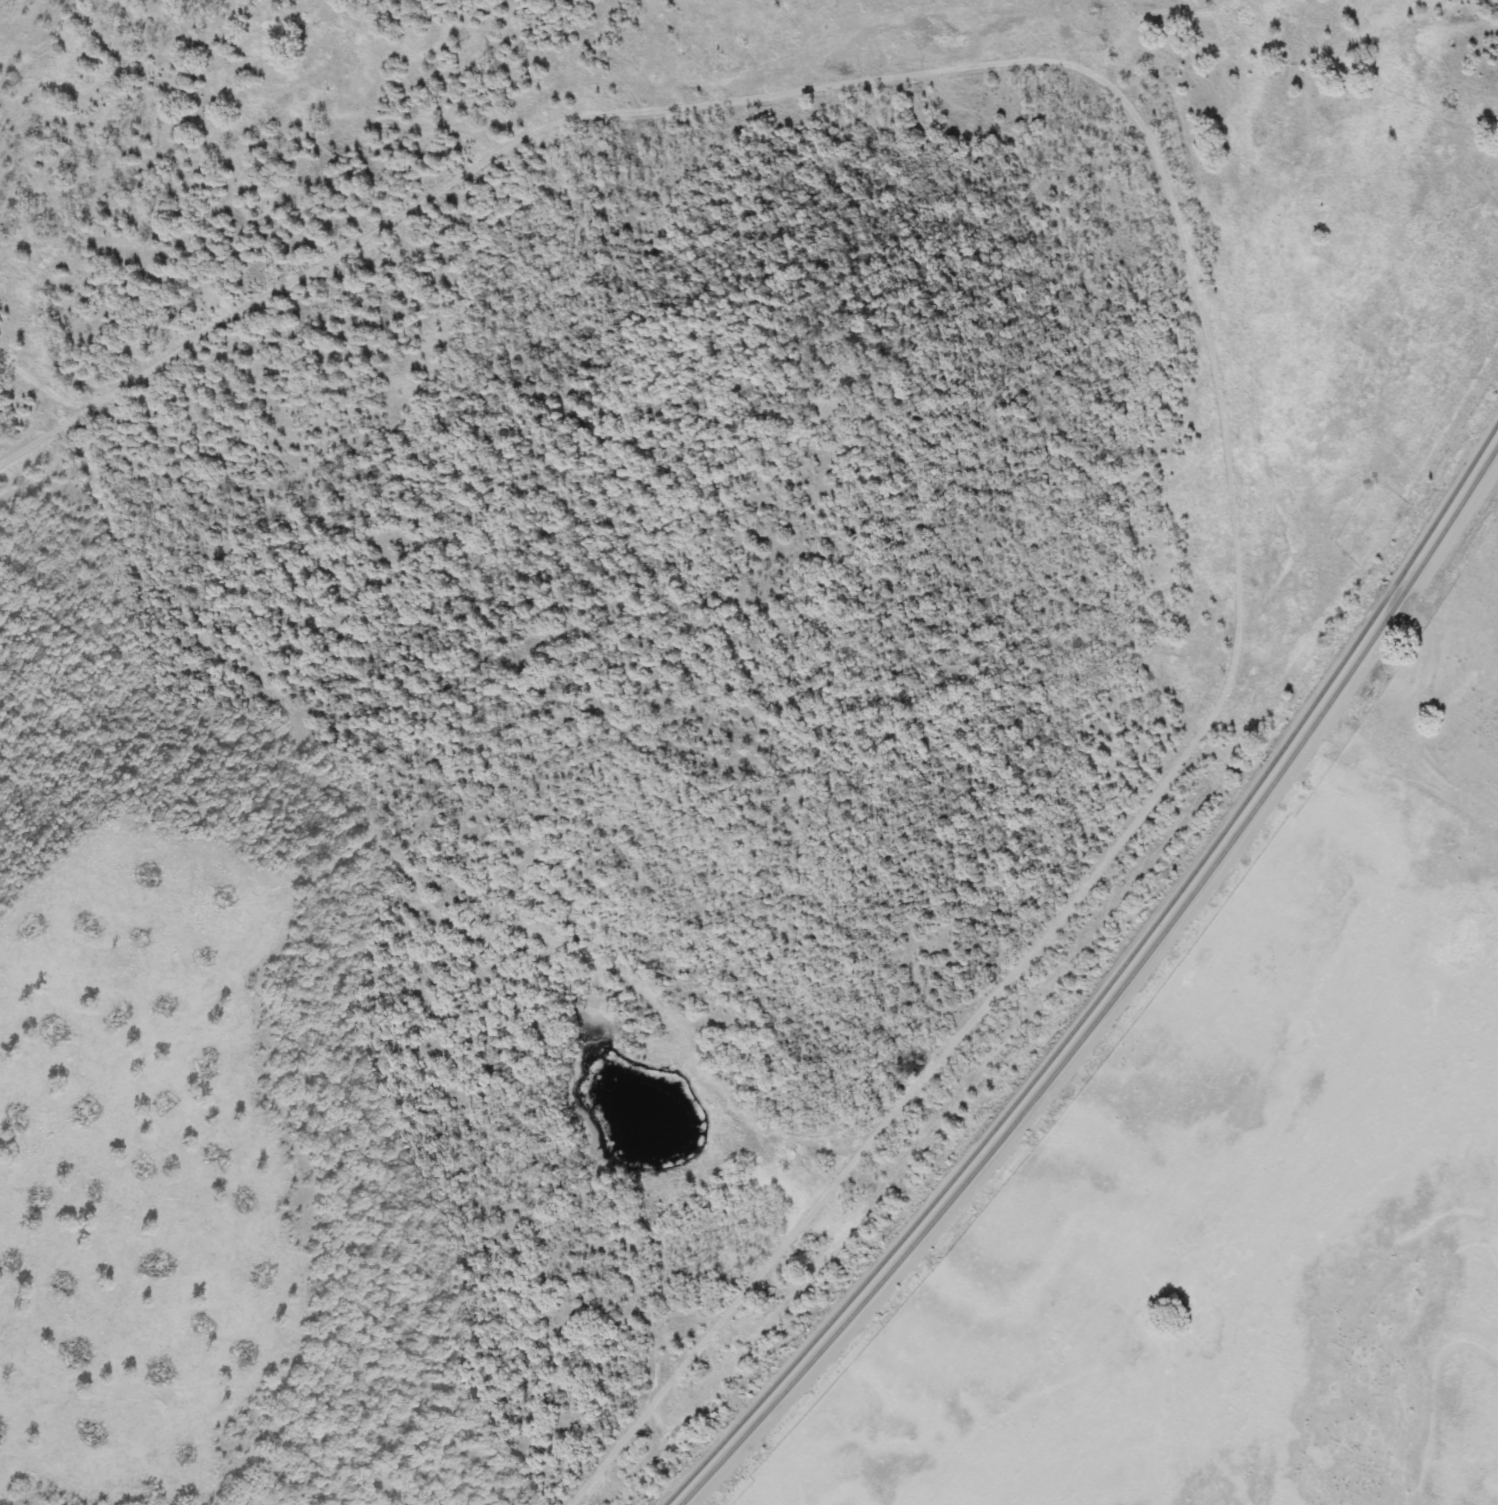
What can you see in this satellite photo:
road: (1199, 304)
railway: (1107, 982)

